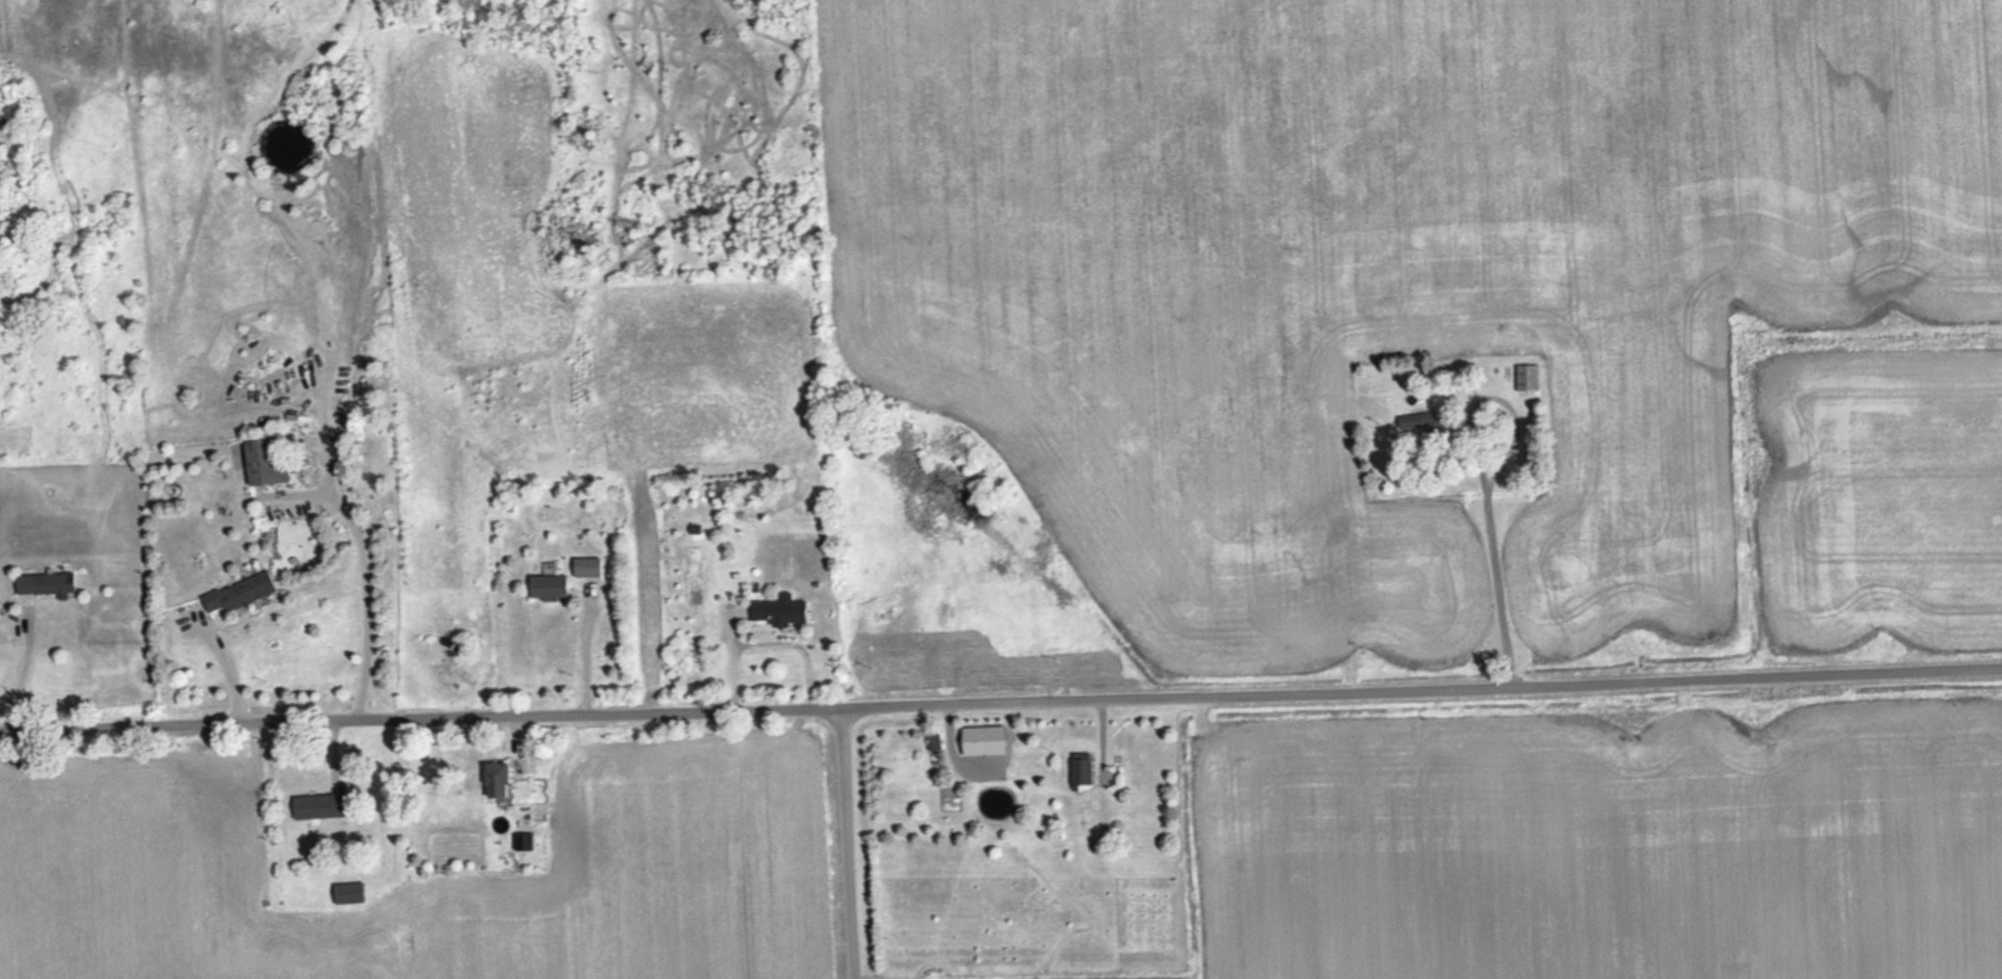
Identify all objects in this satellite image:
building: (1531, 378)
building: (1425, 422)
building: (271, 461)
building: (592, 567)
building: (50, 584)
building: (553, 587)
building: (244, 592)
building: (784, 610)
road: (1000, 695)
building: (989, 740)
building: (1085, 770)
building: (503, 780)
building: (323, 807)
road: (850, 841)
building: (526, 842)
building: (353, 894)

